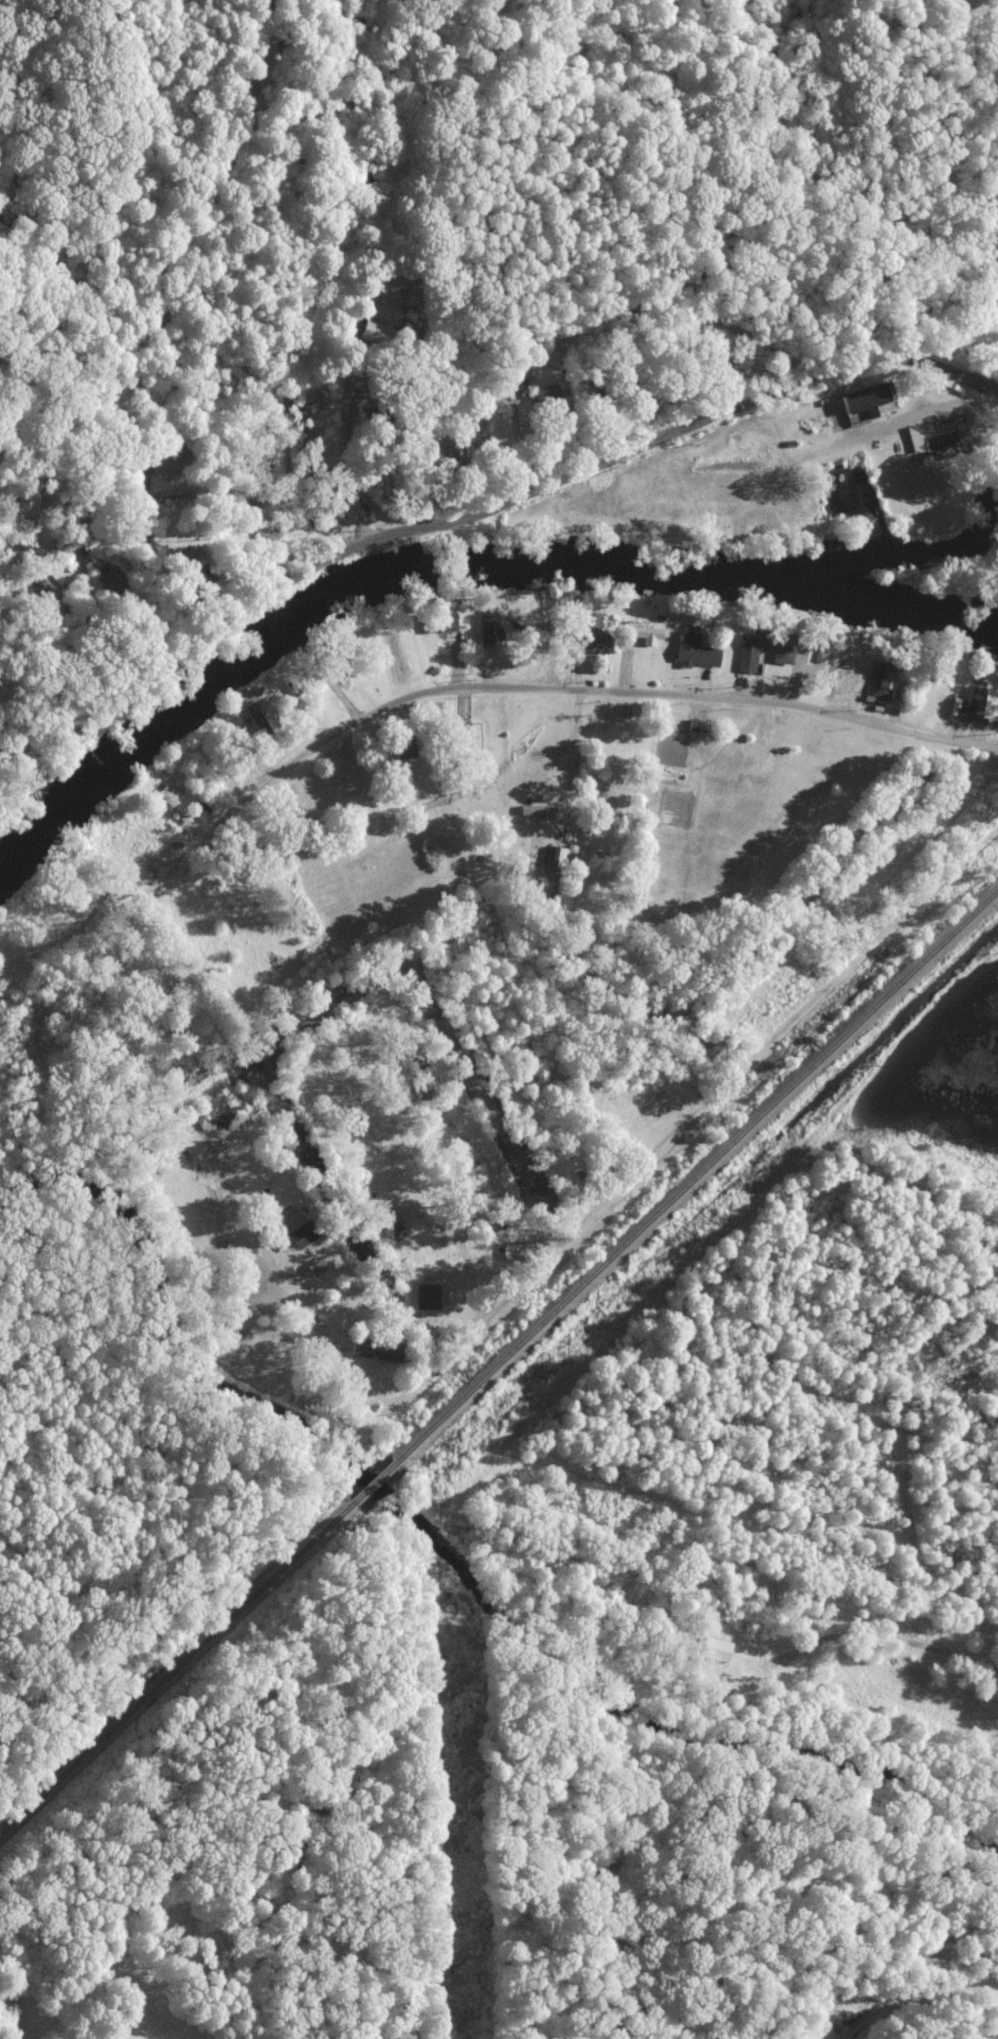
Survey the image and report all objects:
road: (644, 305)
building: (372, 331)
building: (863, 399)
building: (943, 435)
road: (341, 447)
road: (236, 497)
road: (484, 509)
building: (195, 555)
river: (446, 561)
building: (441, 622)
building: (491, 630)
building: (644, 631)
building: (595, 633)
building: (785, 646)
building: (696, 649)
building: (751, 650)
building: (884, 684)
road: (525, 687)
building: (975, 702)
building: (256, 716)
building: (407, 747)
road: (572, 752)
building: (555, 858)
building: (220, 1114)
road: (682, 1131)
railway: (693, 1178)
building: (301, 1227)
building: (428, 1296)
road: (477, 1304)
building: (363, 1347)
building: (390, 1351)
railway: (371, 1483)
road: (551, 1543)
building: (720, 1649)
railway: (176, 1669)
road: (912, 1992)

